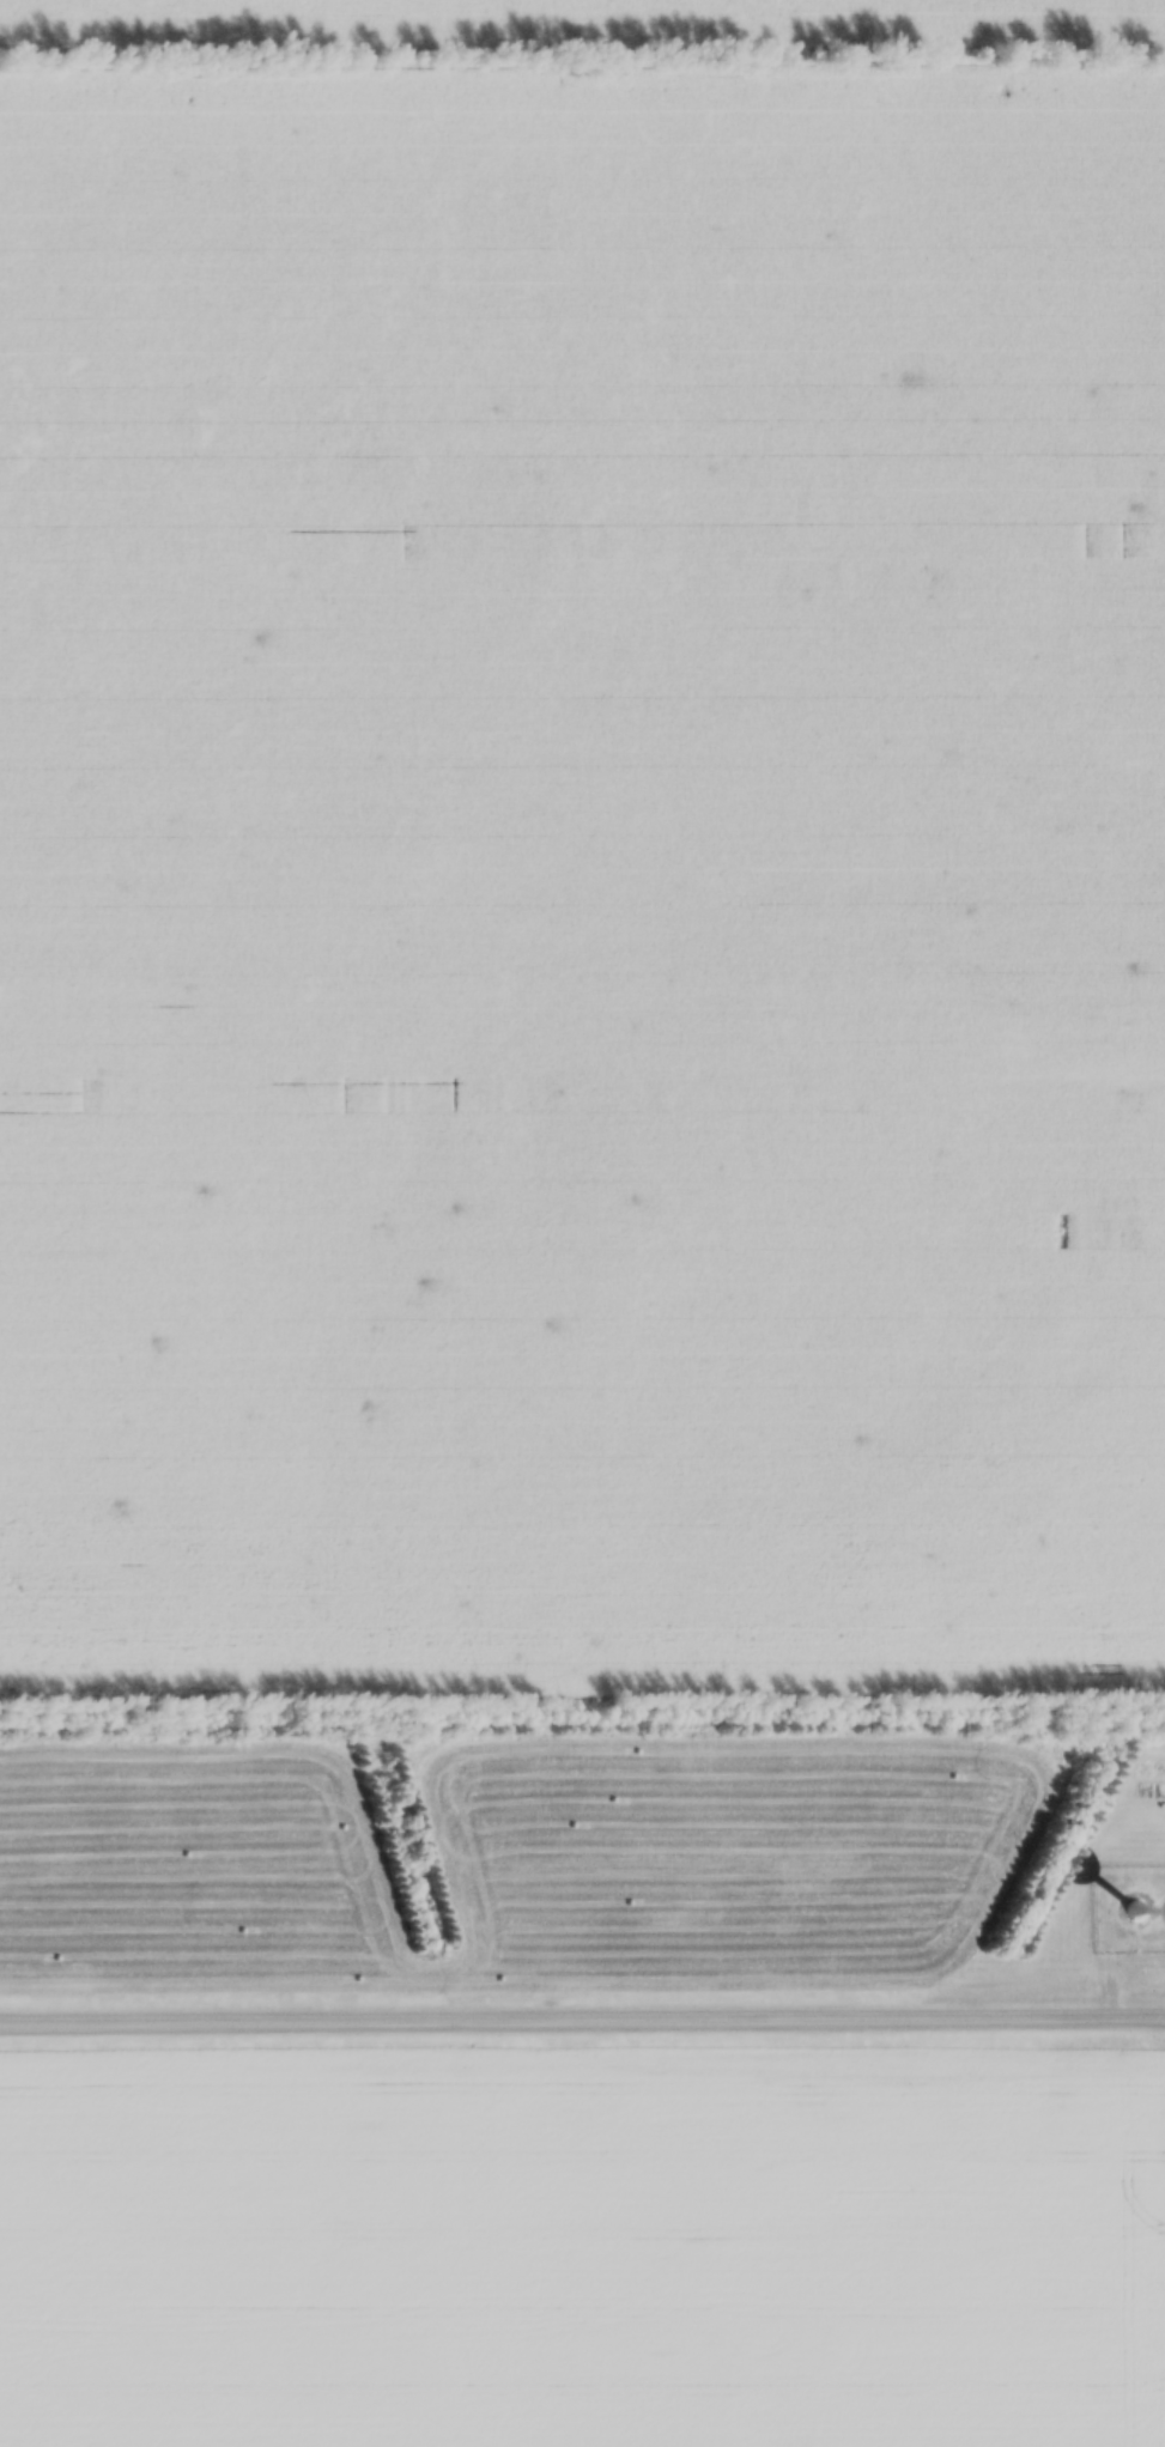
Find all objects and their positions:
water tower: (1130, 1878)
building: (1139, 1906)
road: (582, 2015)
crop: (583, 2248)

